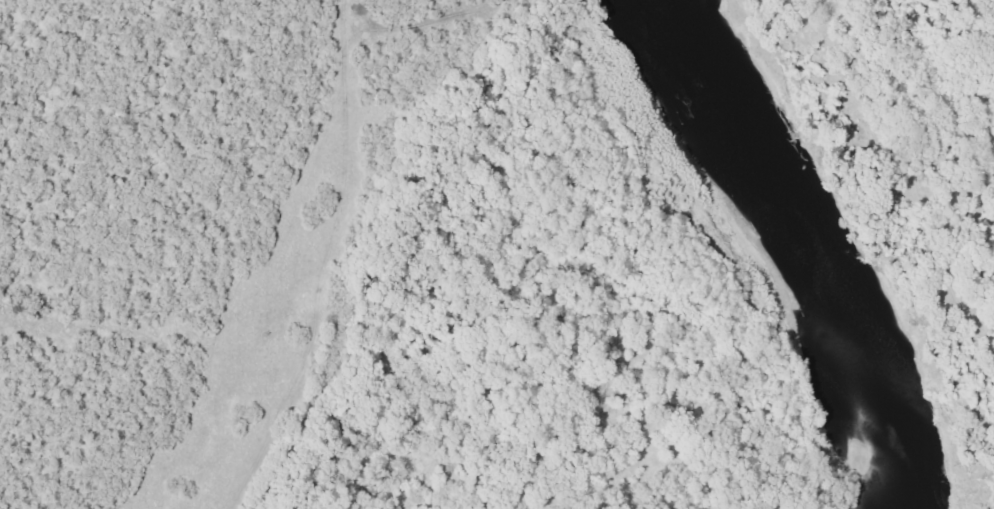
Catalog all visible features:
river: (763, 254)

